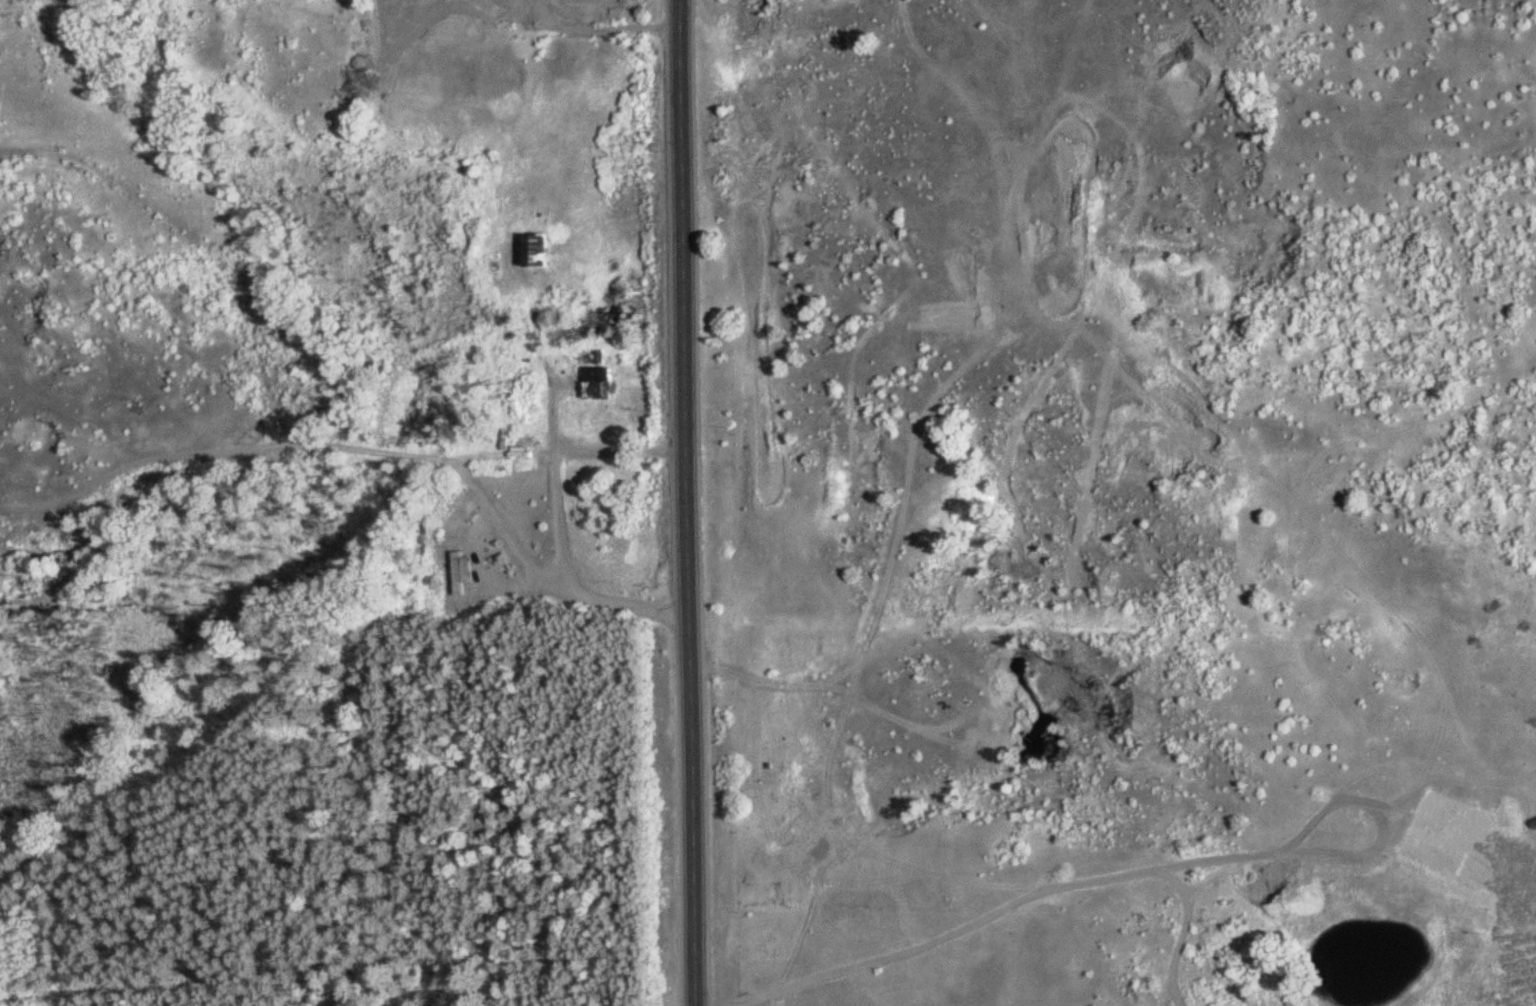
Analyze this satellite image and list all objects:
building: (537, 250)
building: (3, 342)
building: (596, 382)
road: (372, 453)
road: (687, 503)

